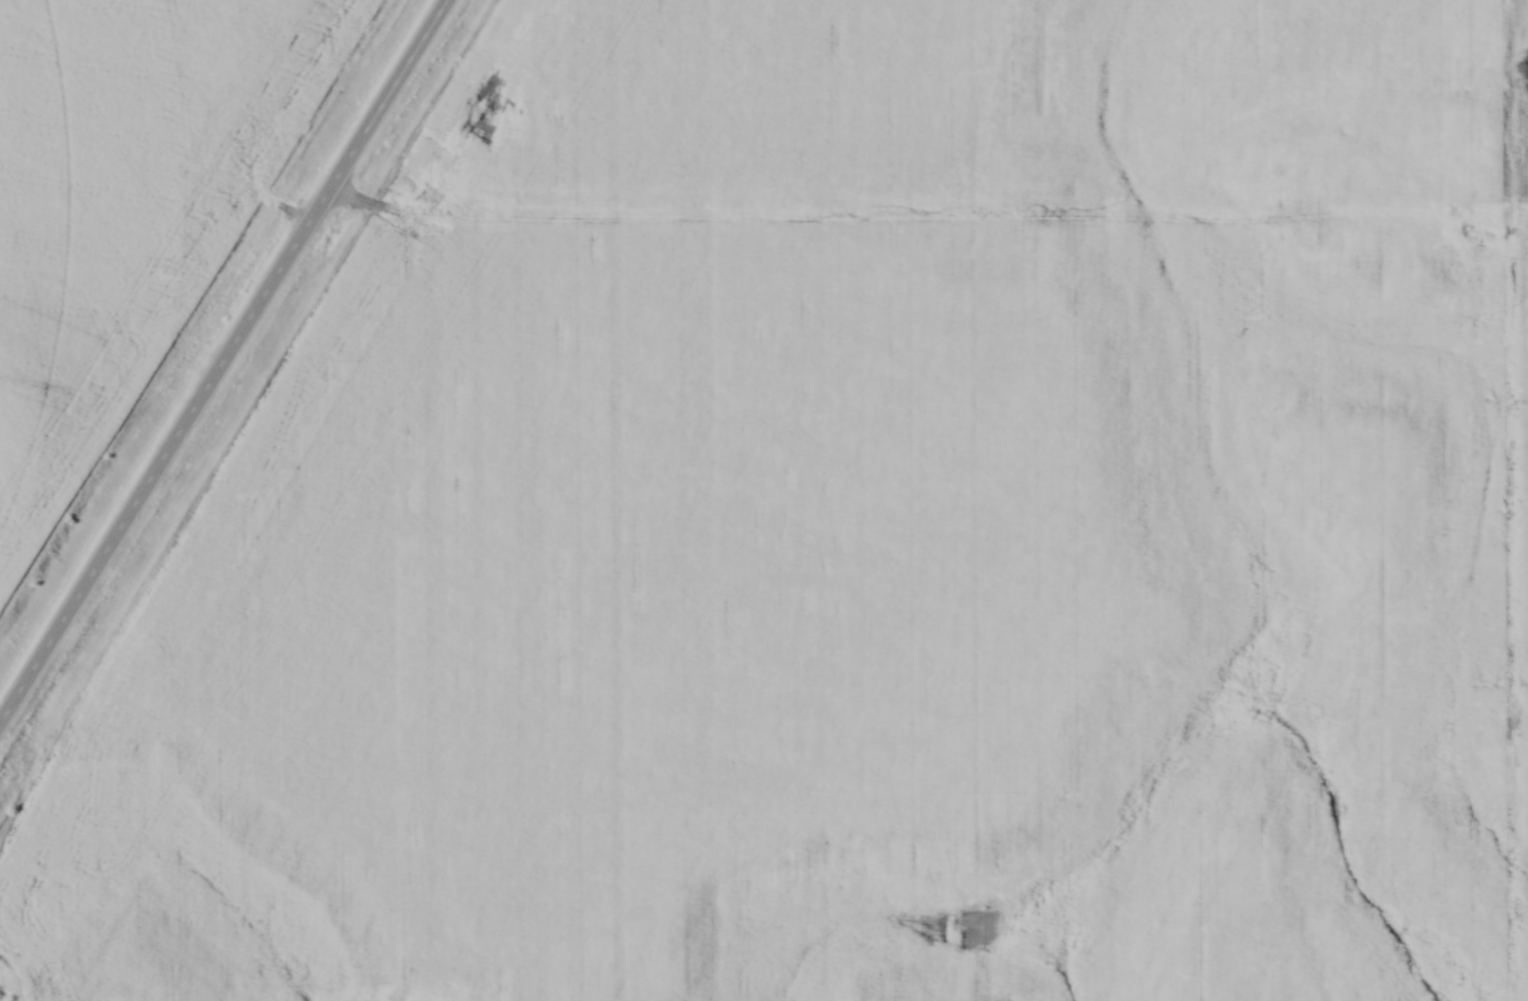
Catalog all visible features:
road: (224, 364)

